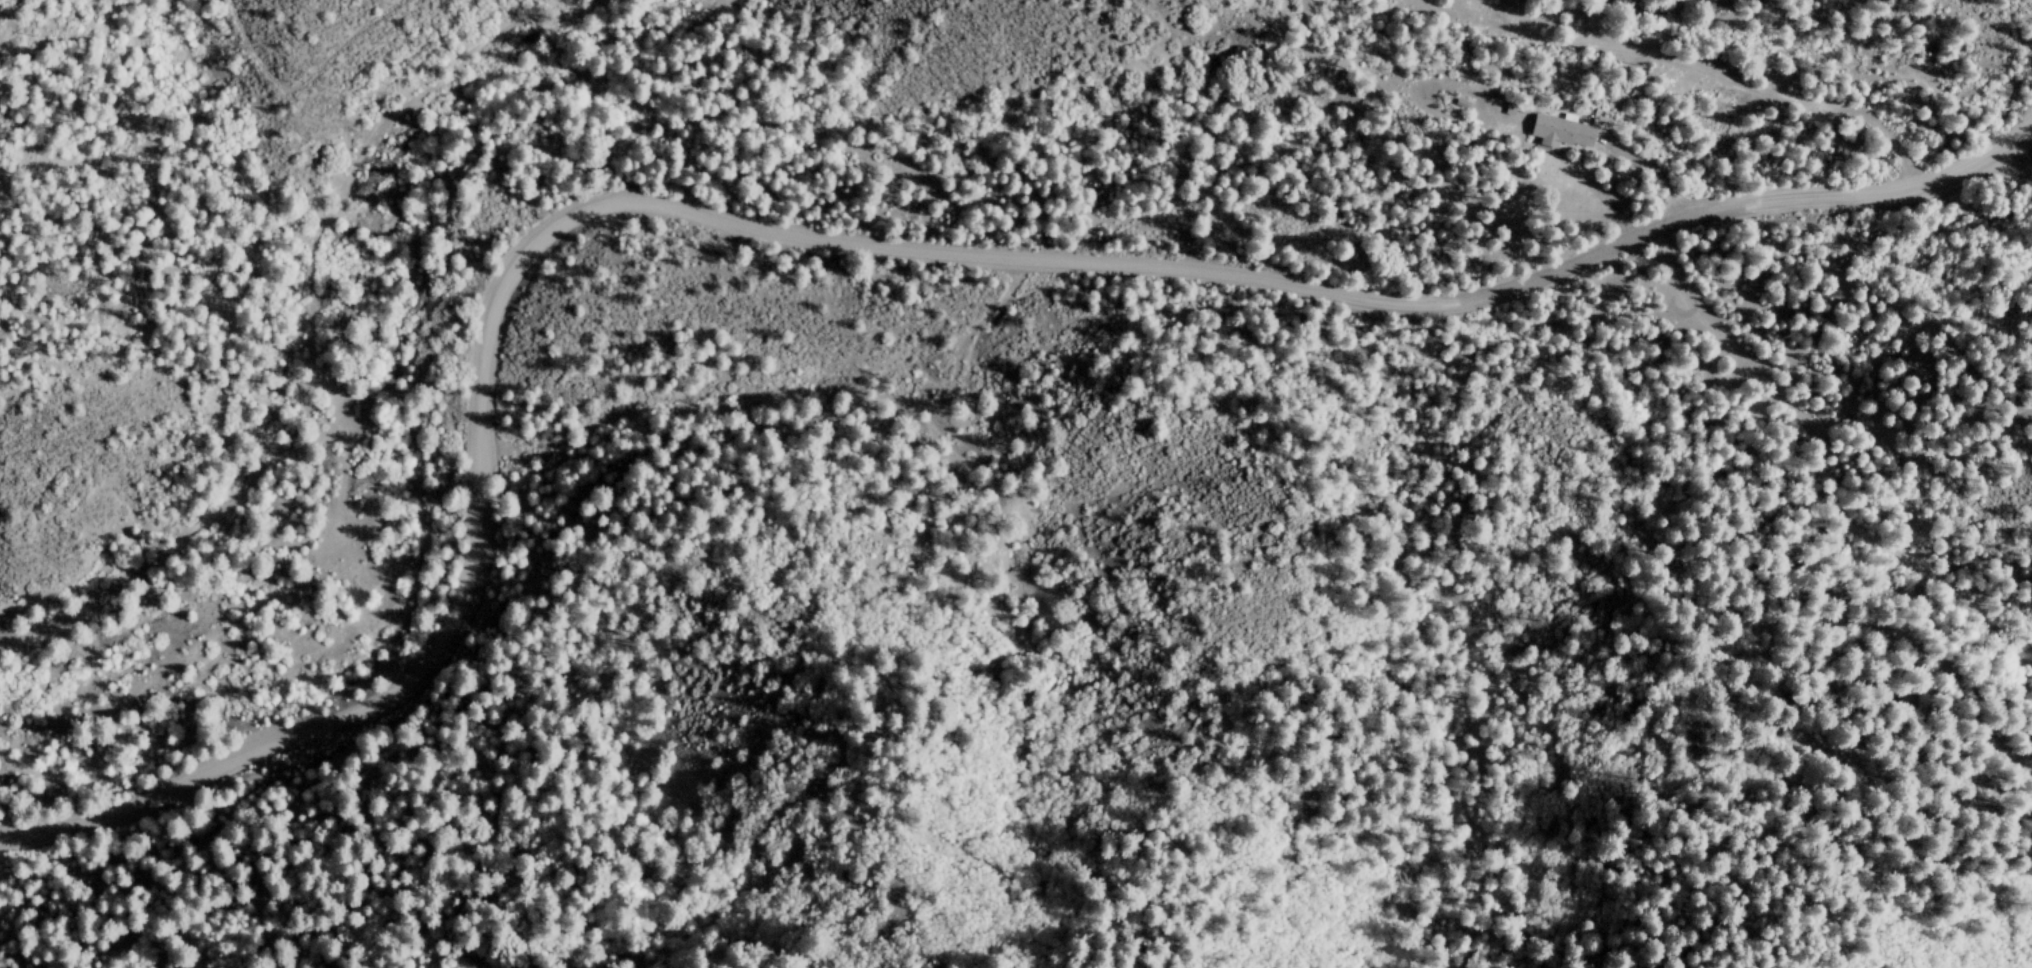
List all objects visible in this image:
building: (1558, 132)
road: (840, 249)
road: (1837, 463)

